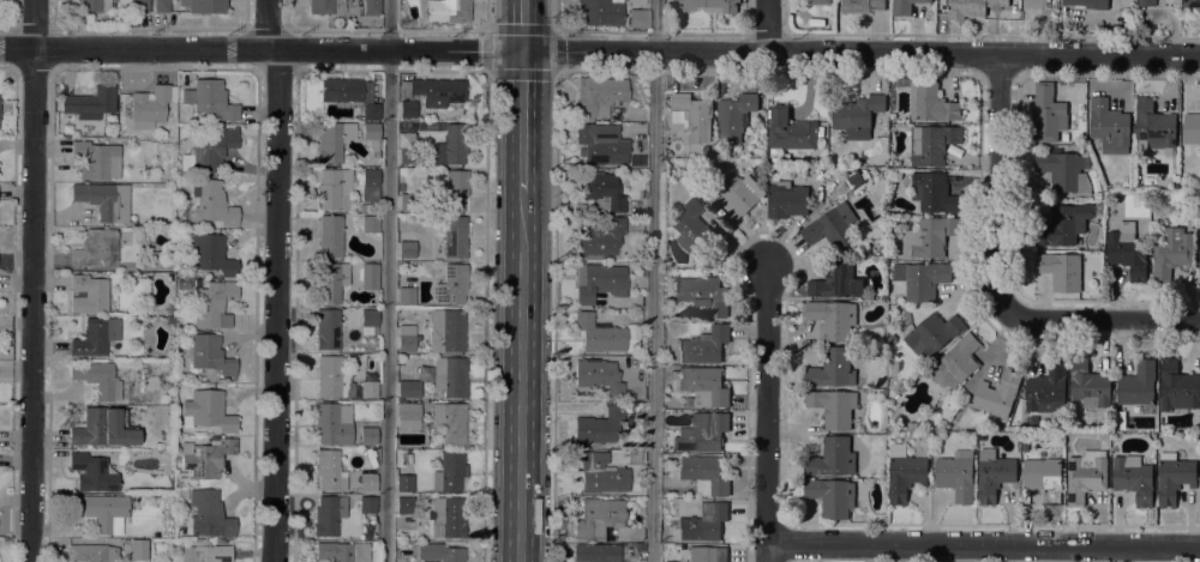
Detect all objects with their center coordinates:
building: (818, 1)
building: (1146, 2)
building: (1088, 4)
building: (1192, 4)
building: (92, 5)
building: (710, 5)
building: (142, 6)
building: (161, 6)
building: (203, 6)
building: (862, 6)
building: (905, 6)
building: (325, 7)
building: (371, 7)
building: (965, 8)
building: (446, 11)
building: (599, 12)
road: (558, 13)
road: (488, 16)
building: (637, 19)
building: (812, 20)
road: (268, 25)
road: (523, 26)
road: (768, 26)
road: (559, 30)
road: (748, 32)
road: (557, 34)
road: (668, 34)
road: (788, 34)
road: (768, 35)
road: (977, 35)
traffic signals: (522, 53)
road: (599, 53)
building: (434, 91)
building: (350, 95)
building: (187, 96)
building: (600, 96)
building: (212, 101)
building: (90, 103)
building: (931, 103)
building: (146, 107)
building: (407, 109)
building: (1048, 114)
building: (692, 116)
building: (734, 116)
building: (857, 116)
road: (522, 122)
building: (1109, 126)
building: (1154, 126)
building: (1192, 128)
building: (790, 131)
building: (371, 137)
building: (1062, 137)
building: (332, 141)
building: (600, 144)
building: (930, 144)
building: (451, 146)
building: (208, 153)
building: (407, 157)
building: (774, 159)
building: (96, 161)
building: (1066, 171)
building: (854, 179)
road: (996, 185)
building: (370, 186)
building: (400, 188)
building: (600, 189)
building: (334, 191)
building: (452, 192)
building: (733, 192)
building: (934, 193)
building: (1097, 197)
building: (104, 200)
building: (786, 200)
building: (407, 203)
building: (211, 204)
building: (1064, 224)
building: (370, 226)
building: (832, 226)
building: (694, 229)
building: (331, 235)
building: (454, 237)
building: (929, 237)
building: (599, 240)
building: (96, 249)
building: (1199, 249)
building: (407, 250)
building: (1127, 253)
building: (1171, 253)
building: (211, 255)
building: (161, 260)
building: (1063, 270)
building: (368, 277)
building: (922, 279)
road: (34, 280)
road: (388, 280)
road: (653, 280)
building: (836, 280)
building: (332, 282)
building: (598, 283)
building: (181, 284)
building: (197, 284)
building: (451, 285)
building: (88, 295)
building: (406, 296)
building: (703, 296)
building: (212, 304)
road: (278, 307)
road: (485, 318)
road: (554, 318)
building: (833, 319)
building: (368, 322)
road: (1102, 322)
building: (326, 330)
building: (446, 331)
building: (932, 333)
building: (598, 334)
building: (95, 338)
building: (406, 338)
building: (704, 345)
building: (210, 356)
building: (956, 362)
building: (833, 369)
building: (599, 376)
building: (449, 377)
road: (520, 377)
building: (97, 379)
building: (340, 382)
building: (703, 385)
building: (1088, 385)
building: (1138, 385)
building: (1178, 388)
building: (408, 389)
building: (1046, 392)
building: (997, 394)
building: (689, 403)
building: (833, 407)
building: (206, 412)
building: (408, 416)
road: (768, 416)
building: (449, 422)
building: (332, 423)
building: (598, 427)
building: (912, 427)
building: (102, 429)
building: (702, 434)
building: (368, 436)
building: (634, 457)
building: (205, 458)
building: (832, 458)
building: (329, 471)
building: (449, 472)
building: (92, 473)
building: (599, 473)
building: (904, 473)
building: (703, 475)
building: (994, 475)
building: (956, 476)
building: (1085, 476)
building: (1174, 477)
building: (1133, 478)
building: (1044, 479)
building: (367, 483)
building: (404, 483)
building: (832, 497)
building: (367, 504)
building: (403, 504)
building: (101, 510)
building: (209, 513)
building: (328, 515)
building: (448, 516)
building: (598, 518)
building: (703, 522)
building: (373, 545)
building: (638, 546)
road: (984, 546)
building: (138, 550)
building: (342, 552)
building: (439, 552)
building: (596, 552)
building: (91, 554)
building: (205, 554)
building: (707, 554)

